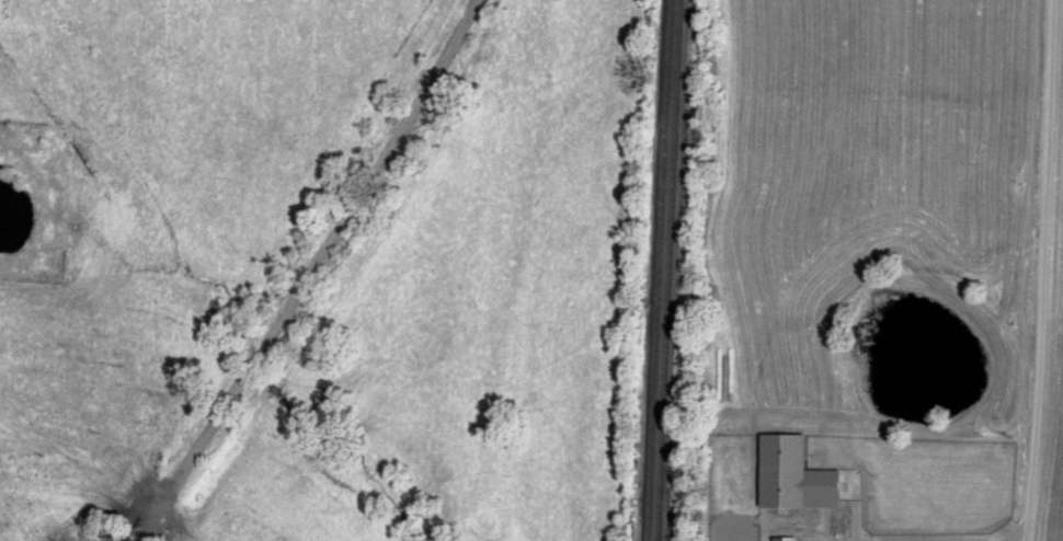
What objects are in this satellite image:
railway: (656, 270)
railway: (665, 270)
road: (1048, 270)
building: (786, 539)

